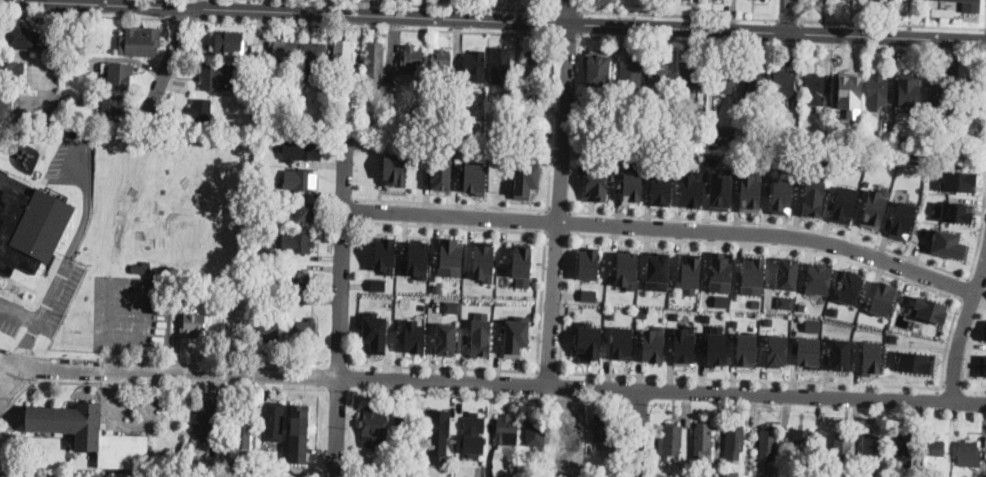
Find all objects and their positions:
building: (879, 0)
road: (151, 2)
building: (603, 3)
road: (438, 4)
building: (970, 5)
road: (567, 9)
road: (87, 14)
road: (677, 14)
road: (788, 15)
road: (985, 16)
road: (786, 18)
road: (184, 19)
road: (512, 19)
road: (891, 22)
road: (377, 25)
road: (568, 33)
building: (21, 37)
building: (140, 41)
building: (226, 42)
building: (68, 43)
road: (781, 44)
building: (283, 50)
building: (341, 56)
building: (314, 58)
building: (373, 60)
building: (411, 61)
road: (166, 63)
building: (438, 65)
building: (499, 65)
building: (474, 67)
building: (535, 67)
building: (596, 69)
building: (11, 71)
building: (631, 71)
building: (267, 72)
building: (723, 72)
building: (658, 75)
building: (119, 76)
building: (797, 76)
building: (211, 79)
building: (688, 79)
building: (847, 84)
building: (415, 87)
building: (783, 87)
building: (909, 87)
building: (814, 89)
building: (756, 90)
building: (941, 90)
building: (971, 91)
building: (251, 92)
building: (385, 92)
building: (877, 92)
building: (293, 93)
building: (521, 93)
building: (446, 95)
building: (462, 96)
building: (5, 104)
building: (112, 105)
building: (619, 112)
building: (201, 113)
building: (462, 113)
building: (290, 116)
building: (364, 117)
building: (858, 118)
building: (303, 128)
building: (461, 130)
building: (531, 131)
building: (725, 131)
building: (509, 132)
building: (679, 138)
building: (665, 140)
building: (308, 149)
building: (919, 153)
building: (948, 153)
building: (931, 155)
building: (960, 157)
parking lot: (71, 162)
building: (787, 165)
building: (819, 165)
building: (395, 167)
building: (440, 172)
road: (344, 174)
building: (525, 176)
building: (474, 178)
building: (303, 179)
building: (596, 180)
building: (958, 181)
building: (632, 185)
building: (660, 186)
building: (261, 188)
building: (685, 191)
building: (719, 191)
road: (560, 192)
building: (749, 193)
building: (782, 195)
building: (814, 197)
road: (473, 204)
building: (840, 204)
road: (558, 207)
building: (873, 208)
building: (305, 211)
building: (952, 212)
building: (902, 219)
road: (546, 221)
road: (569, 222)
building: (29, 224)
building: (258, 224)
road: (451, 225)
road: (663, 226)
road: (815, 227)
building: (257, 235)
road: (557, 235)
building: (296, 243)
building: (948, 244)
building: (255, 245)
building: (385, 254)
building: (451, 256)
building: (416, 260)
building: (483, 260)
building: (521, 263)
building: (588, 263)
road: (66, 264)
building: (142, 266)
building: (627, 267)
building: (658, 269)
building: (721, 271)
building: (690, 272)
building: (753, 274)
building: (783, 274)
road: (976, 278)
building: (295, 279)
building: (814, 279)
building: (154, 283)
building: (260, 283)
building: (378, 284)
building: (166, 286)
road: (963, 286)
building: (436, 287)
road: (928, 287)
building: (845, 288)
building: (152, 293)
building: (181, 293)
building: (588, 294)
road: (340, 295)
building: (877, 298)
building: (722, 300)
building: (784, 302)
parking lot: (43, 303)
road: (542, 303)
road: (971, 303)
building: (452, 306)
building: (924, 310)
parking lot: (129, 313)
road: (19, 314)
building: (278, 314)
building: (674, 315)
building: (235, 323)
building: (813, 324)
building: (192, 325)
road: (962, 327)
building: (268, 328)
building: (307, 330)
building: (985, 330)
building: (374, 331)
building: (480, 333)
building: (516, 335)
building: (414, 336)
building: (445, 338)
road: (971, 340)
building: (588, 341)
building: (622, 342)
building: (653, 343)
building: (684, 345)
building: (716, 348)
building: (746, 348)
building: (777, 349)
building: (808, 351)
building: (840, 353)
building: (870, 356)
building: (916, 361)
building: (981, 365)
road: (465, 369)
road: (167, 372)
road: (548, 373)
road: (8, 377)
road: (14, 379)
road: (951, 384)
road: (110, 385)
road: (661, 388)
road: (14, 399)
building: (204, 419)
building: (244, 420)
building: (404, 422)
building: (274, 423)
building: (374, 426)
road: (335, 428)
building: (604, 428)
building: (506, 430)
building: (535, 430)
building: (571, 432)
road: (638, 432)
building: (298, 433)
building: (90, 434)
building: (438, 434)
building: (473, 437)
building: (703, 440)
building: (671, 441)
building: (735, 441)
building: (903, 446)
building: (766, 447)
building: (936, 447)
building: (618, 449)
building: (842, 449)
building: (392, 450)
building: (802, 450)
building: (871, 452)
building: (969, 453)
building: (195, 458)
building: (498, 459)
building: (247, 469)
building: (278, 469)
building: (2, 474)
building: (148, 474)
building: (731, 474)
building: (105, 475)
building: (42, 476)
building: (490, 476)
building: (679, 476)

